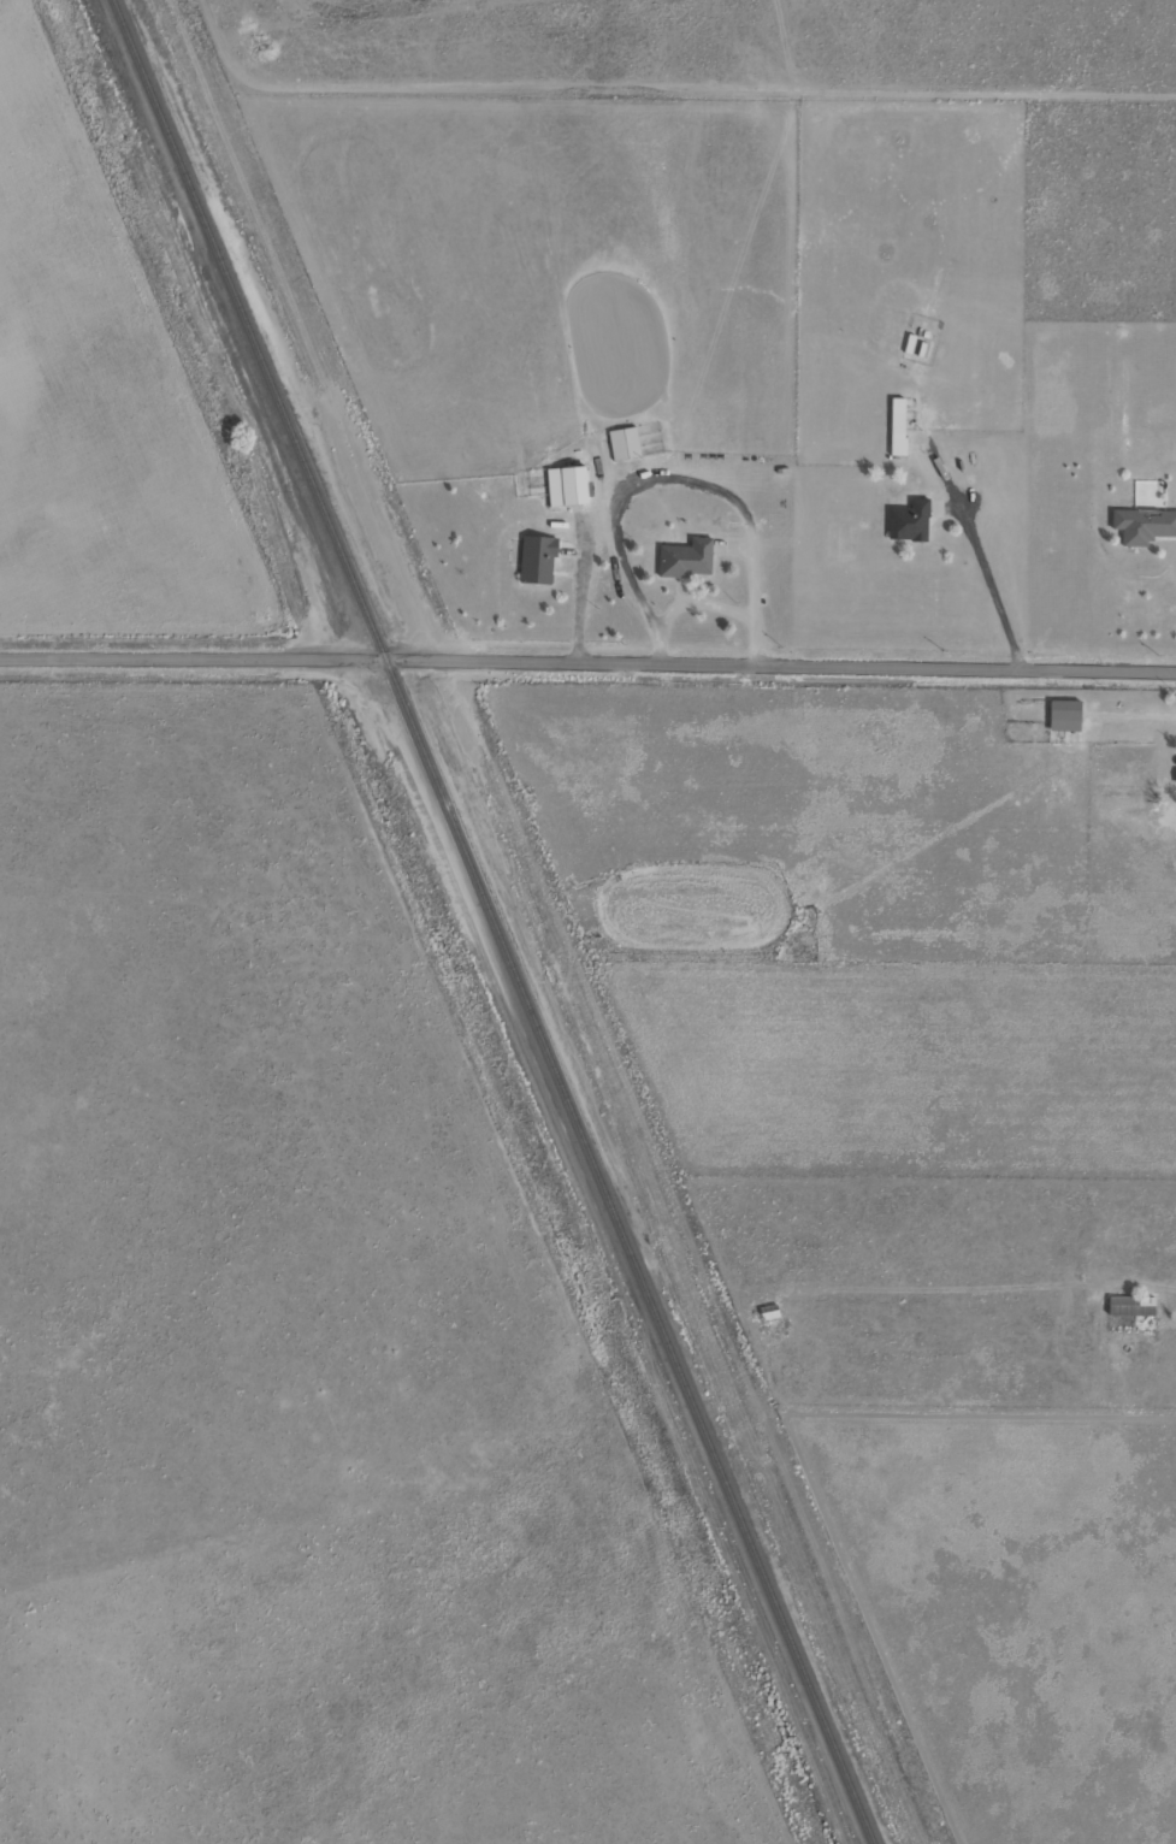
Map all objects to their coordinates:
building: (897, 427)
building: (624, 444)
building: (567, 486)
building: (909, 521)
building: (1142, 525)
building: (537, 560)
building: (686, 560)
road: (587, 661)
building: (1064, 716)
railway: (494, 922)
building: (1130, 1307)
building: (768, 1313)

